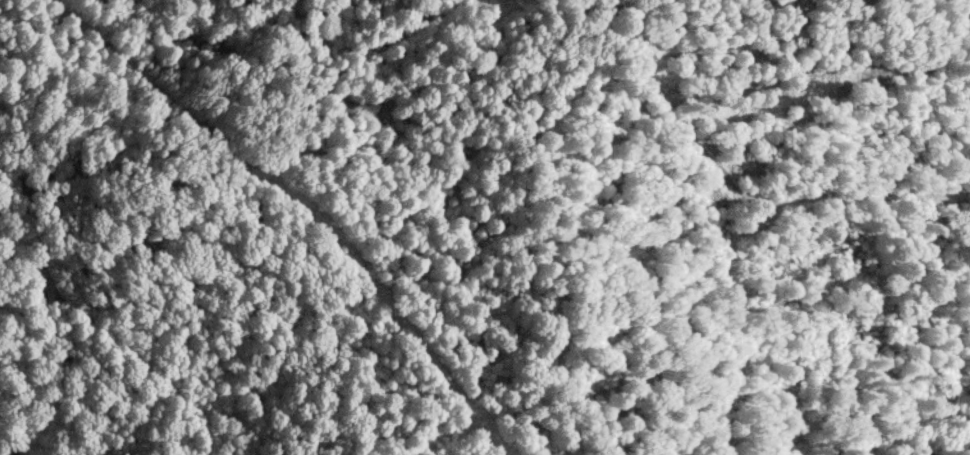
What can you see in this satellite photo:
road: (673, 129)
road: (948, 195)
road: (744, 224)
road: (551, 317)
road: (418, 331)

